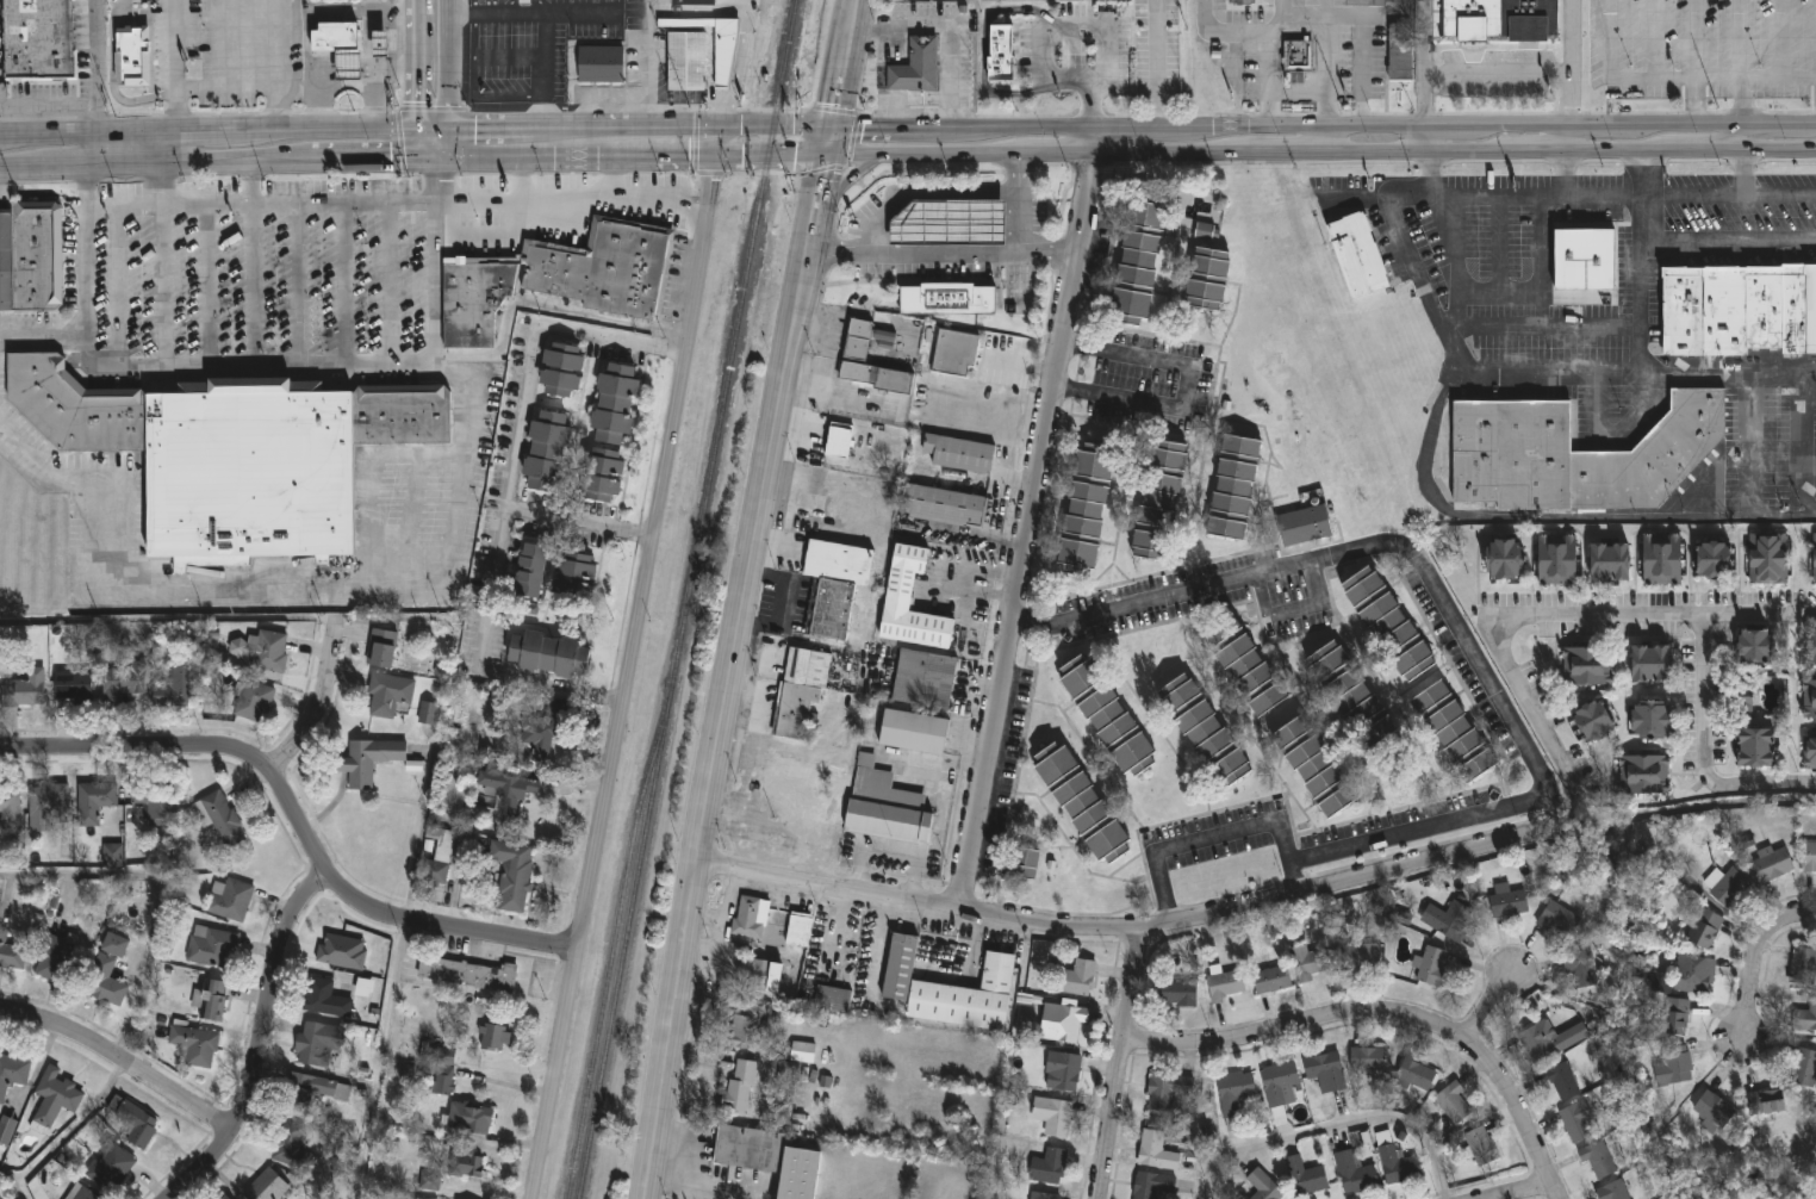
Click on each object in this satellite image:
road: (417, 2)
building: (524, 2)
building: (1243, 2)
building: (1373, 2)
road: (508, 4)
building: (691, 4)
road: (745, 4)
road: (539, 5)
road: (649, 5)
road: (697, 8)
road: (490, 10)
road: (461, 11)
road: (597, 11)
road: (393, 14)
road: (1279, 20)
building: (1501, 20)
road: (946, 29)
road: (368, 36)
road: (1264, 36)
road: (1426, 36)
road: (1572, 36)
building: (1007, 37)
building: (335, 38)
building: (36, 39)
road: (1781, 39)
road: (1044, 41)
road: (1652, 41)
parking lot: (226, 43)
parking lot: (535, 44)
building: (380, 45)
gas station: (380, 45)
road: (983, 48)
parking lot: (1702, 49)
road: (543, 52)
road: (1363, 52)
building: (1400, 52)
building: (131, 56)
building: (1299, 57)
building: (723, 60)
building: (686, 61)
road: (1157, 63)
road: (1326, 63)
road: (448, 64)
building: (601, 64)
road: (279, 66)
building: (916, 66)
road: (1694, 66)
parking lot: (1, 67)
road: (175, 67)
building: (348, 67)
gas station: (348, 67)
road: (738, 67)
road: (418, 68)
road: (649, 68)
road: (390, 72)
road: (1528, 73)
road: (1672, 81)
road: (348, 87)
road: (299, 88)
road: (474, 88)
road: (93, 99)
road: (1741, 99)
road: (1426, 100)
road: (543, 112)
road: (94, 120)
traffic signals: (720, 125)
road: (722, 125)
road: (871, 126)
road: (572, 128)
traffic signals: (832, 128)
road: (1363, 128)
road: (489, 129)
traffic signals: (419, 130)
traffic signals: (449, 130)
road: (224, 133)
road: (1325, 142)
road: (1568, 142)
road: (419, 144)
road: (448, 144)
road: (91, 150)
traffic signals: (823, 157)
road: (1319, 157)
road: (769, 159)
traffic signals: (419, 160)
traffic signals: (448, 160)
road: (366, 161)
road: (533, 161)
traffic signals: (714, 161)
road: (611, 162)
road: (679, 162)
road: (199, 163)
road: (523, 164)
road: (24, 166)
road: (67, 166)
road: (842, 180)
road: (251, 182)
road: (920, 191)
building: (1159, 192)
road: (571, 198)
road: (1621, 198)
road: (260, 201)
parking lot: (1739, 204)
road: (1019, 206)
building: (949, 220)
gas station: (949, 220)
building: (1204, 231)
road: (1499, 247)
road: (1728, 247)
building: (1358, 254)
building: (30, 255)
road: (939, 255)
building: (1584, 256)
building: (1139, 257)
road: (1542, 262)
parking lot: (261, 269)
building: (1208, 277)
parking lot: (1507, 277)
building: (558, 278)
road: (344, 280)
road: (390, 280)
road: (298, 281)
road: (253, 282)
road: (162, 284)
road: (207, 284)
road: (116, 285)
road: (1500, 294)
building: (947, 298)
road: (542, 306)
building: (1740, 309)
road: (866, 315)
road: (1435, 317)
road: (1473, 328)
road: (44, 335)
building: (883, 336)
building: (858, 338)
road: (823, 344)
building: (954, 352)
road: (260, 362)
road: (1020, 364)
building: (561, 368)
building: (878, 377)
road: (1678, 379)
road: (1184, 387)
road: (822, 393)
building: (614, 403)
building: (839, 439)
road: (1610, 439)
road: (1750, 449)
building: (546, 451)
parking lot: (1756, 451)
building: (232, 453)
building: (959, 453)
building: (1511, 453)
building: (1650, 456)
building: (603, 474)
building: (1233, 486)
building: (1159, 498)
road: (505, 503)
building: (941, 505)
building: (1086, 509)
road: (1027, 516)
road: (578, 520)
road: (1549, 521)
building: (1305, 526)
road: (970, 538)
building: (1506, 558)
building: (1767, 558)
building: (1815, 558)
building: (1557, 559)
building: (1662, 559)
building: (1611, 560)
building: (1716, 561)
building: (530, 570)
building: (572, 578)
building: (835, 585)
road: (285, 591)
road: (745, 597)
railway: (685, 598)
building: (910, 603)
road: (1294, 608)
road: (1650, 610)
building: (1389, 622)
building: (1758, 646)
building: (1815, 646)
building: (380, 647)
building: (269, 651)
building: (548, 654)
road: (629, 663)
building: (1653, 663)
building: (1245, 665)
building: (1585, 665)
building: (923, 678)
building: (122, 683)
building: (71, 685)
building: (25, 688)
building: (176, 688)
building: (800, 691)
building: (388, 694)
building: (1743, 694)
building: (1355, 696)
building: (1810, 698)
building: (251, 700)
road: (319, 701)
road: (1530, 706)
building: (428, 713)
building: (1108, 715)
road: (1507, 715)
building: (1594, 721)
building: (1654, 721)
building: (1205, 729)
building: (539, 731)
building: (1455, 731)
building: (913, 732)
building: (1758, 747)
road: (1697, 750)
building: (1810, 750)
building: (367, 762)
building: (1316, 768)
building: (1644, 777)
building: (504, 787)
building: (94, 801)
building: (48, 802)
building: (1082, 802)
building: (8, 803)
building: (153, 803)
building: (885, 804)
building: (218, 818)
road: (297, 819)
road: (1590, 821)
building: (112, 855)
building: (437, 857)
building: (1810, 857)
building: (1772, 863)
building: (1022, 864)
building: (511, 874)
building: (1728, 887)
road: (157, 892)
building: (230, 899)
building: (1510, 903)
building: (751, 918)
building: (1557, 919)
building: (1453, 921)
road: (1136, 925)
building: (1705, 928)
building: (798, 931)
building: (113, 945)
building: (210, 946)
railway: (611, 949)
building: (342, 952)
building: (11, 953)
road: (1755, 955)
building: (1360, 957)
building: (58, 961)
building: (1310, 963)
building: (1430, 965)
building: (1580, 967)
building: (1803, 967)
building: (900, 968)
building: (1696, 973)
building: (467, 975)
building: (759, 975)
building: (1077, 977)
building: (1273, 980)
building: (104, 981)
building: (1659, 983)
building: (1224, 986)
building: (365, 987)
building: (1178, 993)
building: (832, 999)
building: (968, 999)
building: (326, 1000)
building: (210, 1001)
road: (1488, 1006)
park: (1625, 1008)
road: (1385, 1014)
building: (1675, 1015)
building: (1806, 1017)
building: (1068, 1023)
building: (748, 1026)
building: (493, 1037)
road: (257, 1038)
building: (1540, 1043)
building: (192, 1044)
building: (317, 1044)
building: (802, 1049)
road: (119, 1056)
building: (1369, 1060)
road: (1120, 1062)
building: (1673, 1067)
building: (1804, 1068)
building: (1325, 1070)
building: (788, 1071)
building: (406, 1073)
building: (1065, 1073)
building: (12, 1074)
building: (1414, 1074)
building: (1563, 1081)
building: (442, 1082)
building: (1280, 1085)
building: (739, 1088)
building: (310, 1092)
building: (1167, 1092)
building: (1233, 1097)
building: (54, 1098)
building: (1766, 1101)
building: (1454, 1102)
building: (1714, 1112)
building: (1053, 1116)
building: (467, 1118)
building: (1578, 1122)
building: (133, 1123)
road: (1335, 1125)
building: (6, 1130)
road: (69, 1132)
building: (288, 1145)
building: (1480, 1148)
building: (1157, 1153)
building: (1600, 1157)
building: (769, 1158)
building: (1398, 1164)
building: (465, 1166)
building: (1049, 1166)
building: (110, 1167)
building: (1355, 1173)
building: (1305, 1176)
building: (430, 1180)
building: (263, 1185)
building: (1152, 1185)
building: (1264, 1186)
building: (1613, 1191)
building: (80, 1193)
road: (1524, 1193)
building: (1043, 1195)
building: (223, 1197)
building: (415, 1198)

